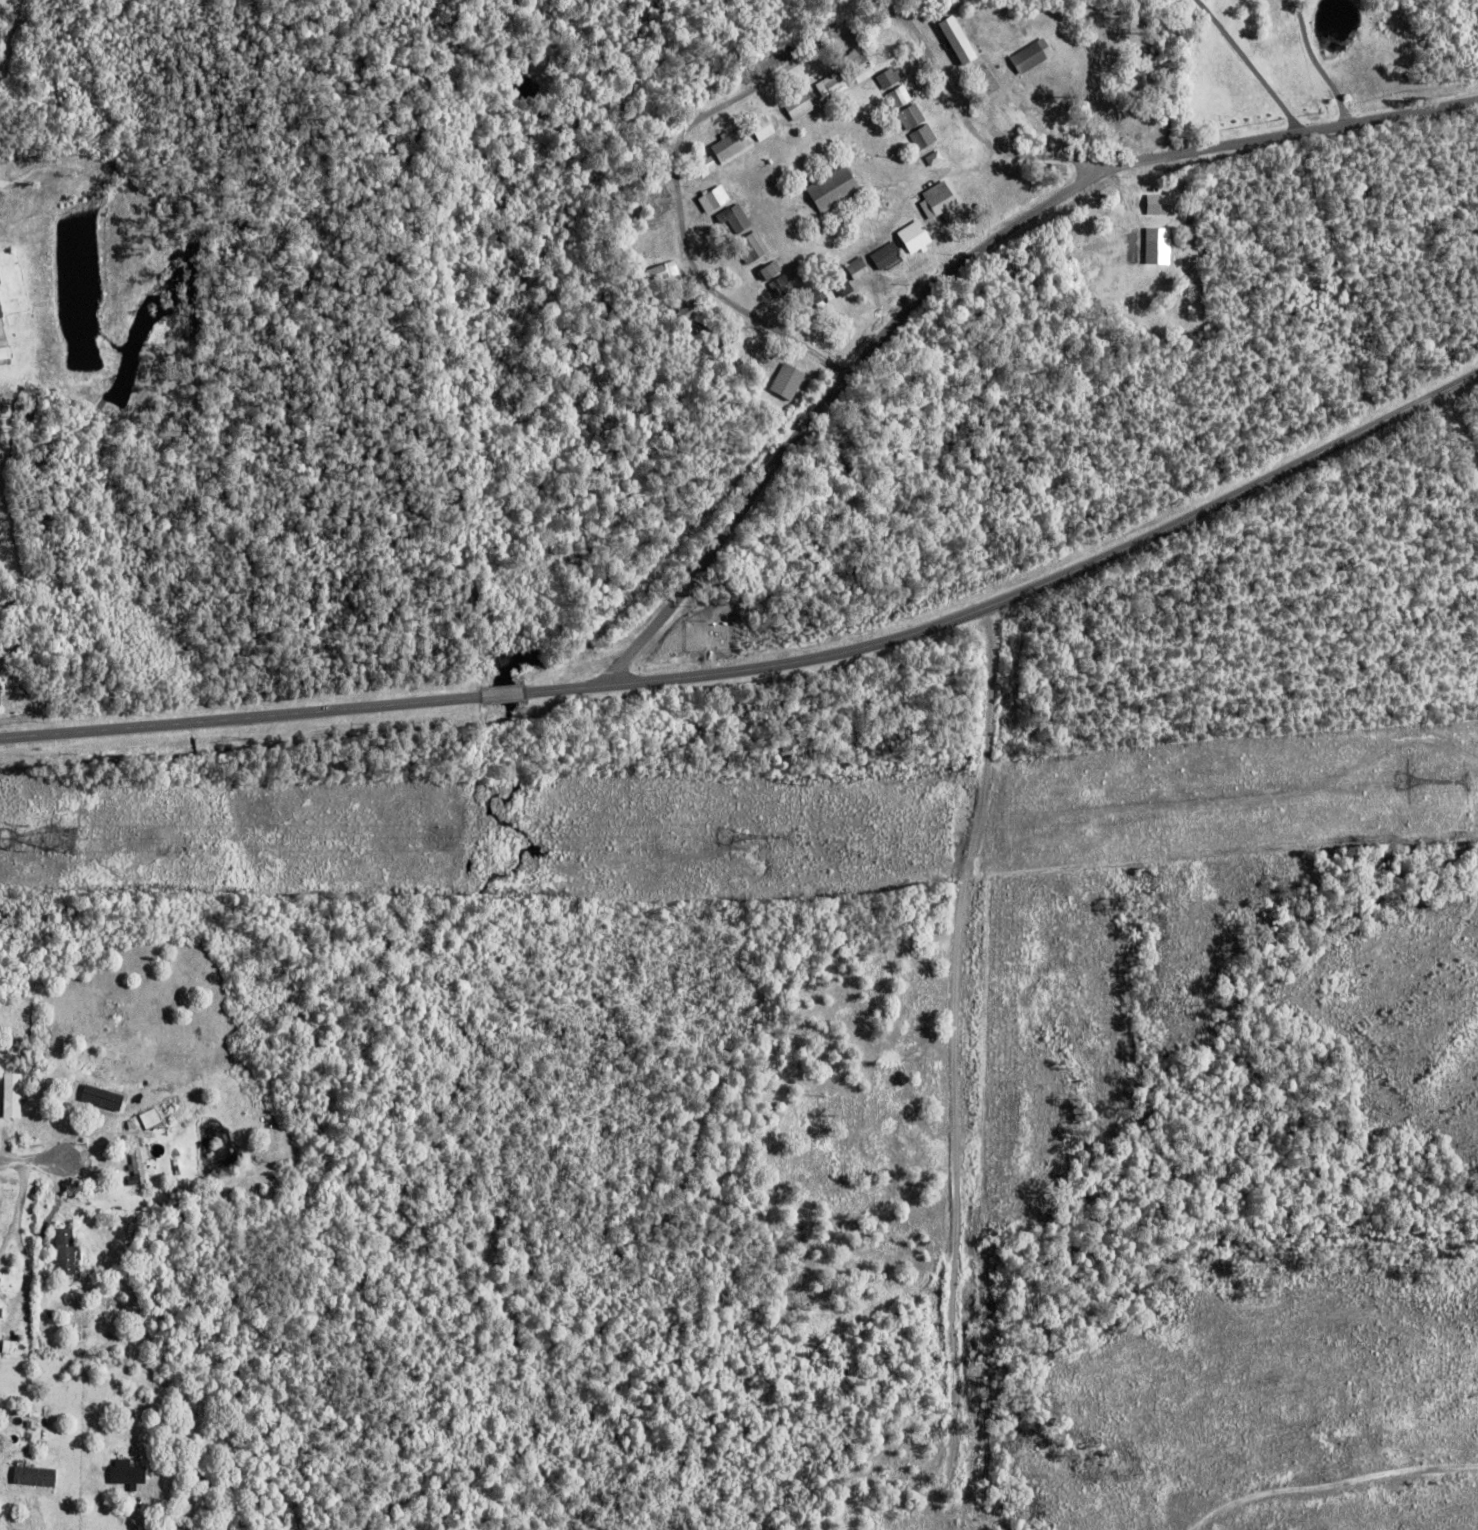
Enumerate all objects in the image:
building: (951, 39)
building: (856, 40)
building: (1029, 60)
building: (860, 66)
road: (1249, 66)
road: (772, 74)
building: (888, 79)
building: (832, 86)
building: (900, 99)
building: (798, 106)
building: (912, 118)
building: (763, 129)
building: (925, 137)
building: (733, 147)
building: (934, 159)
building: (707, 168)
building: (834, 190)
building: (714, 201)
building: (1154, 203)
building: (940, 204)
building: (735, 219)
building: (912, 237)
building: (1153, 244)
building: (751, 249)
building: (885, 257)
road: (961, 266)
building: (765, 269)
building: (669, 270)
building: (858, 270)
building: (841, 283)
building: (782, 287)
building: (815, 298)
building: (686, 301)
building: (2, 305)
building: (705, 320)
building: (735, 341)
building: (7, 351)
building: (767, 355)
building: (788, 384)
road: (1459, 430)
road: (767, 666)
power tower: (1463, 789)
power tower: (782, 839)
power tower: (74, 843)
power tower: (776, 853)
building: (107, 1059)
building: (98, 1085)
building: (13, 1090)
building: (32, 1098)
building: (82, 1101)
building: (27, 1111)
building: (151, 1115)
building: (291, 1141)
building: (146, 1151)
building: (274, 1158)
building: (137, 1160)
road: (33, 1162)
building: (150, 1169)
building: (74, 1251)
building: (1, 1309)
building: (7, 1344)
building: (32, 1424)
building: (205, 1468)
building: (128, 1472)
building: (35, 1473)
building: (247, 1512)

